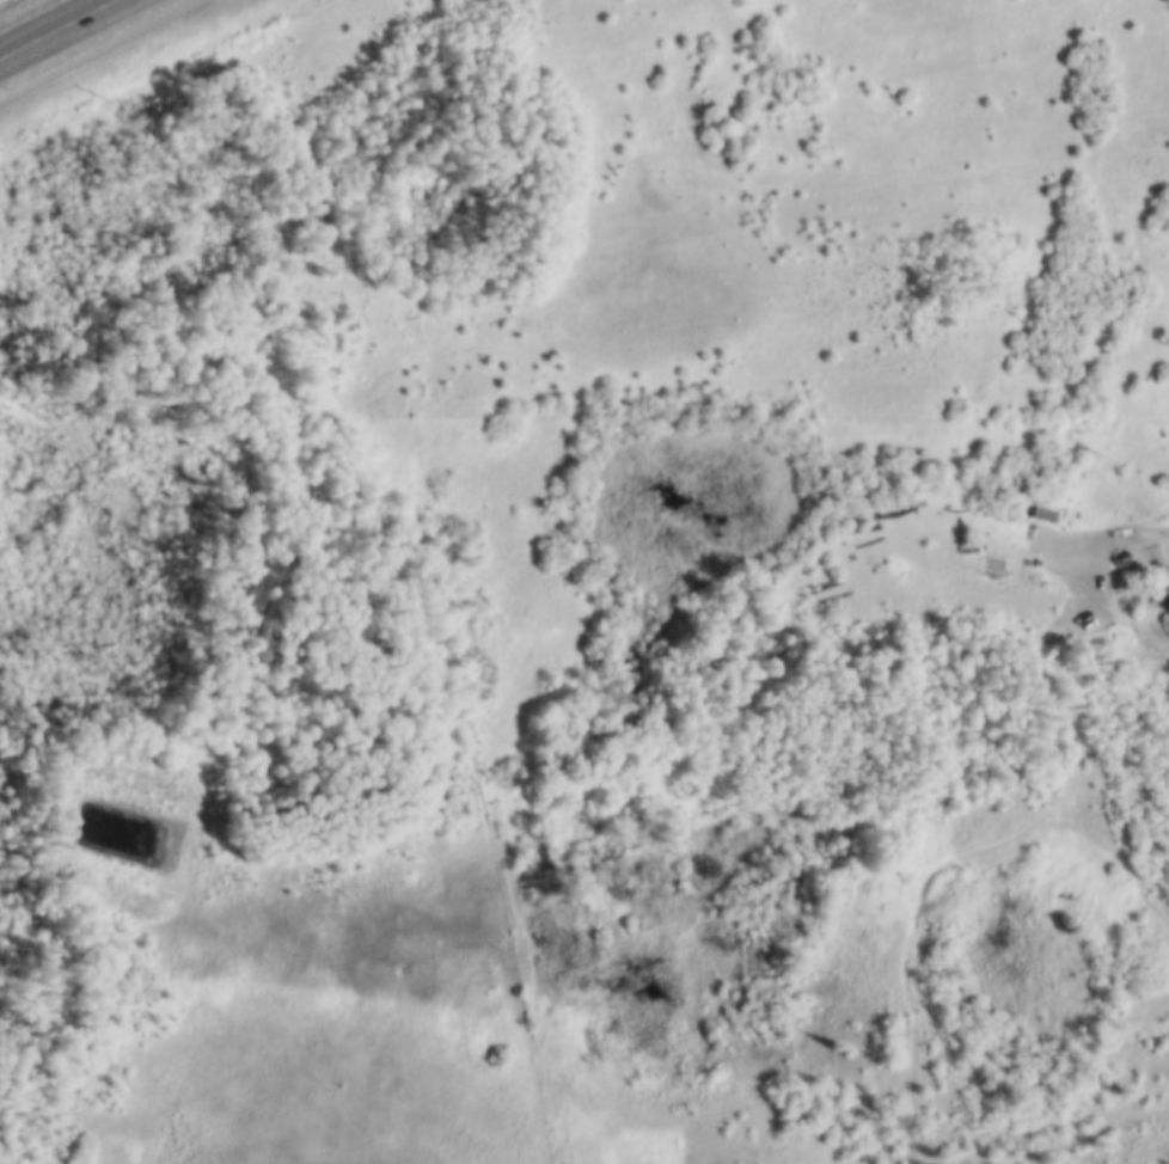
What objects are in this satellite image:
road: (57, 27)
building: (1042, 510)
building: (996, 562)
building: (1075, 570)
road: (1060, 1150)

